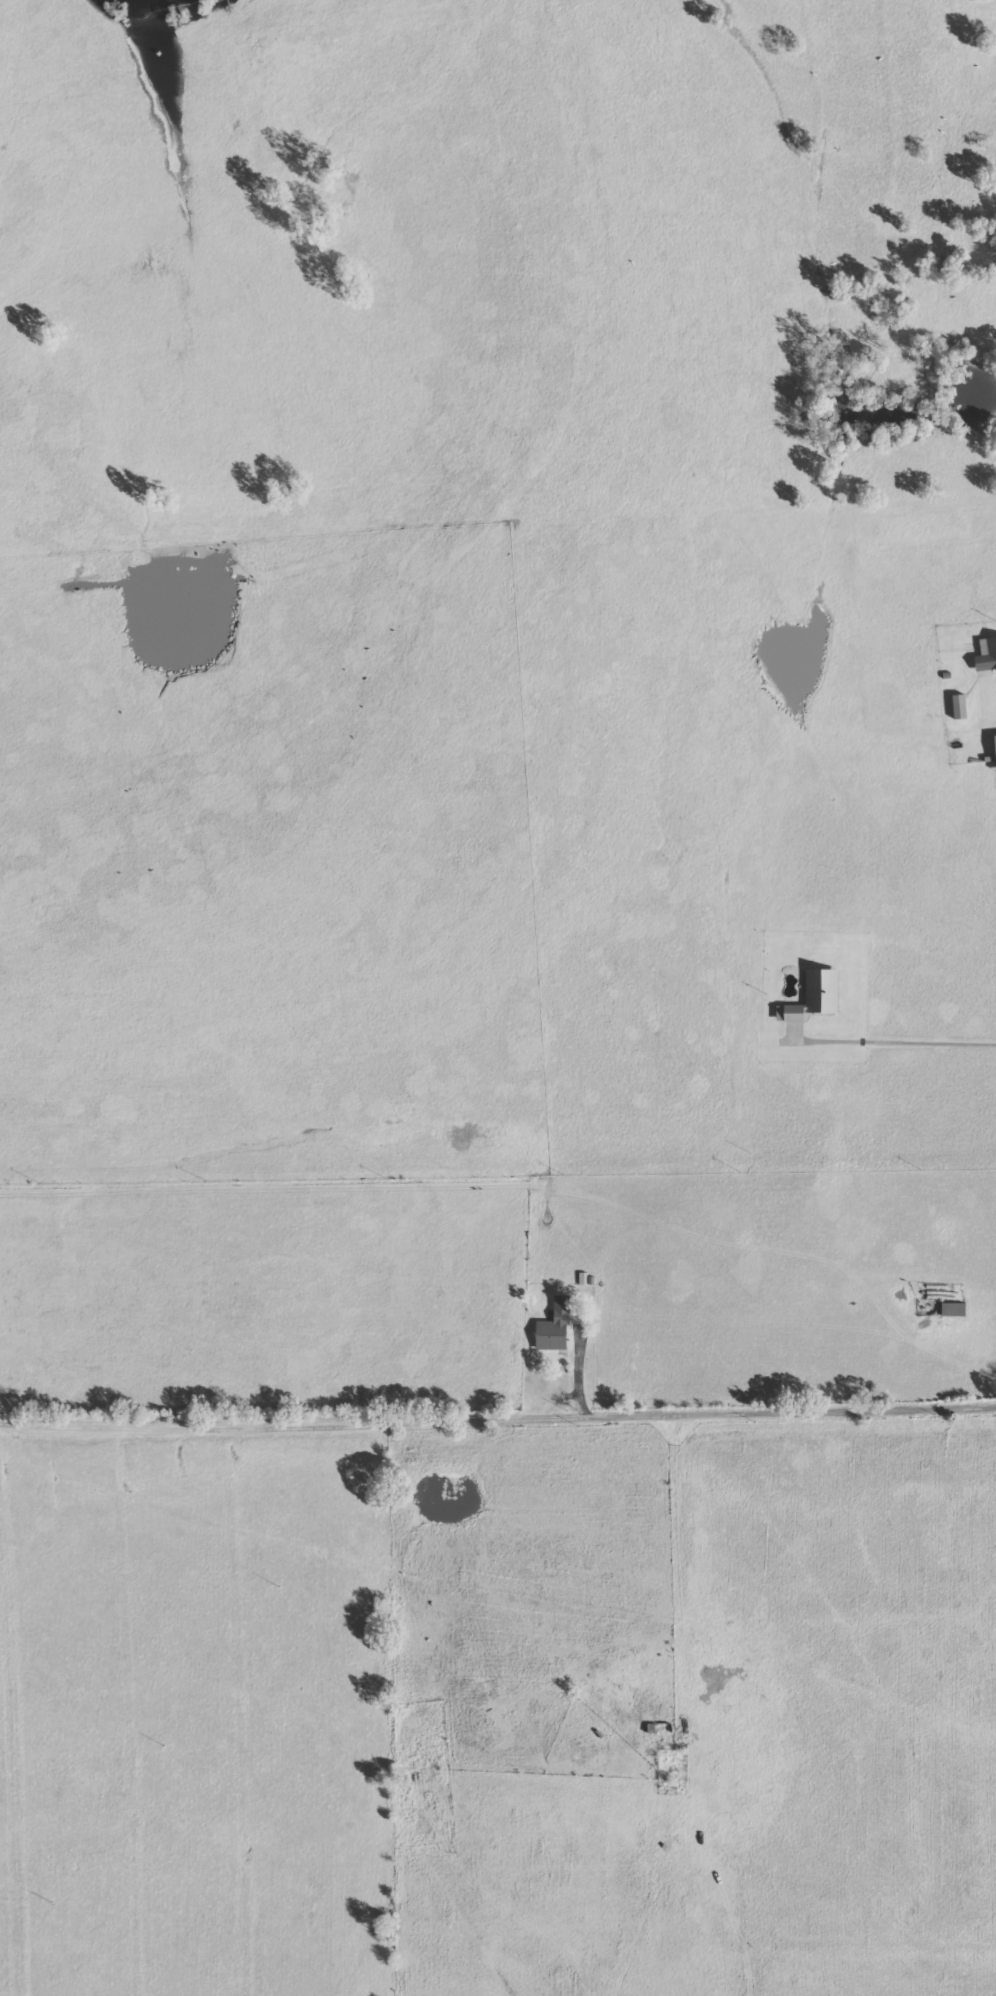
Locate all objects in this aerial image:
building: (988, 657)
building: (962, 708)
road: (896, 766)
building: (817, 998)
building: (956, 1310)
building: (557, 1328)

